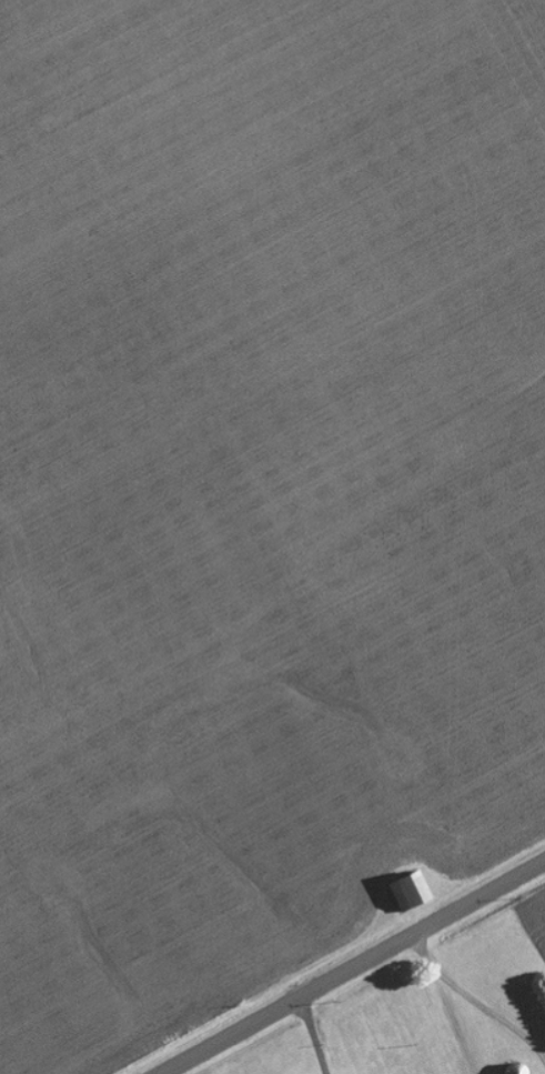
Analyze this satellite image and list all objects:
road: (103, 822)
building: (414, 893)
road: (349, 967)

